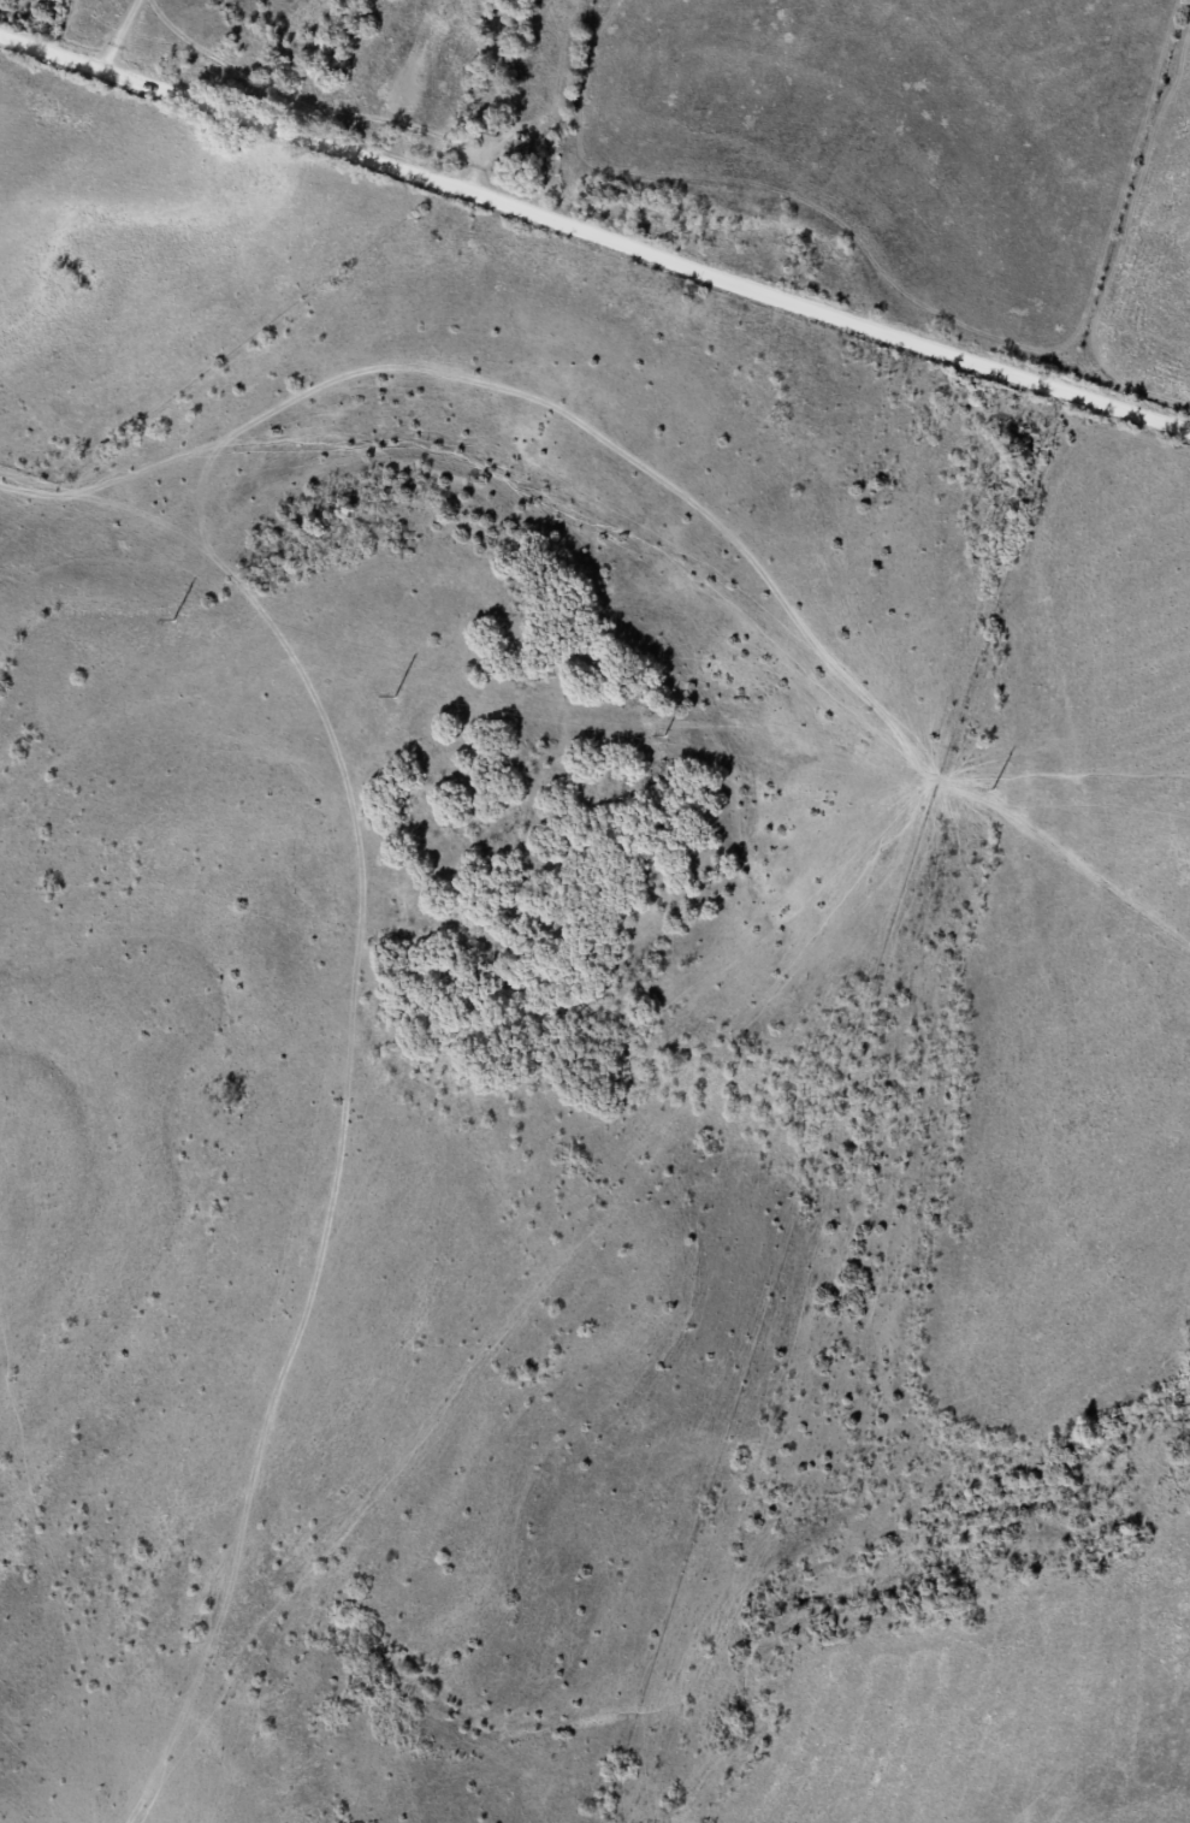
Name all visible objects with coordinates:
road: (114, 34)
building: (491, 124)
building: (520, 150)
road: (594, 232)
power tower: (173, 620)
power tower: (395, 696)
power tower: (665, 734)
power tower: (993, 788)

